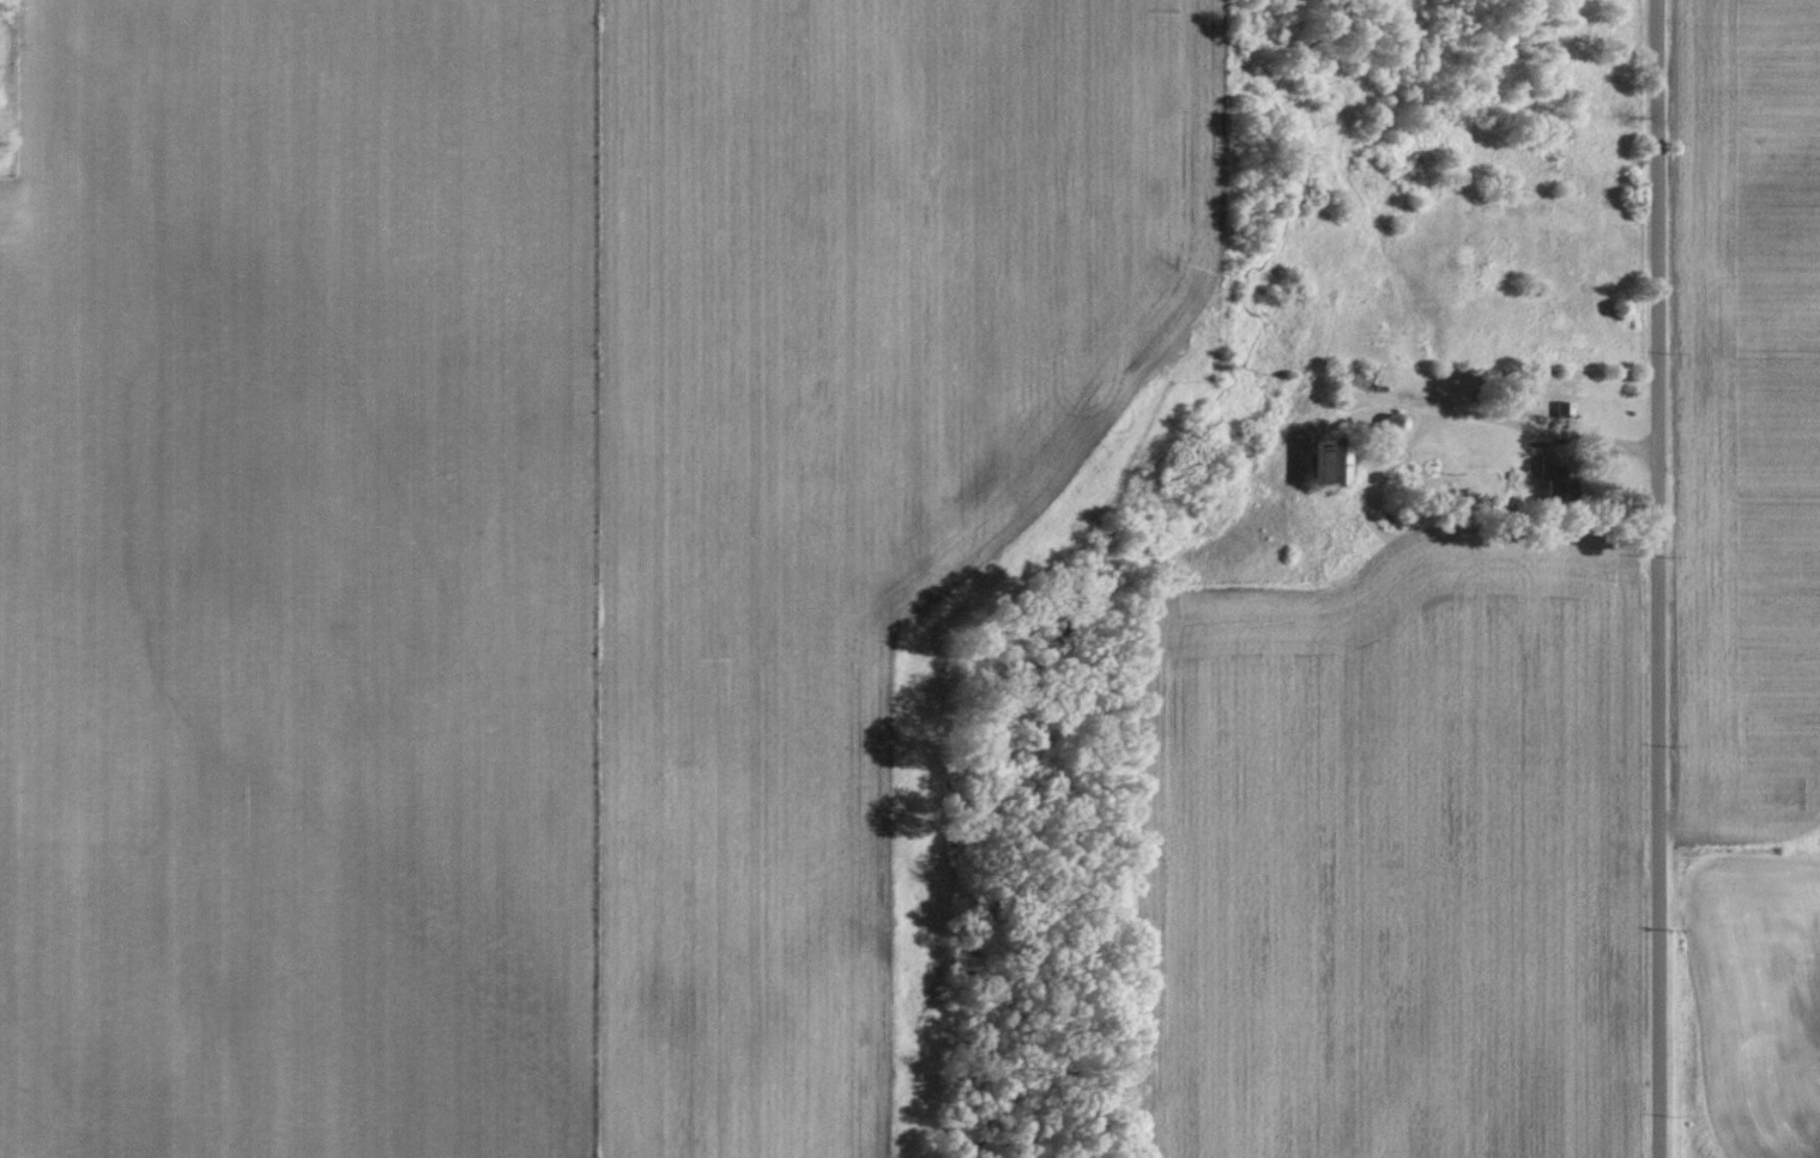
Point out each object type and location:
building: (1325, 467)
building: (1549, 481)
road: (1658, 578)

